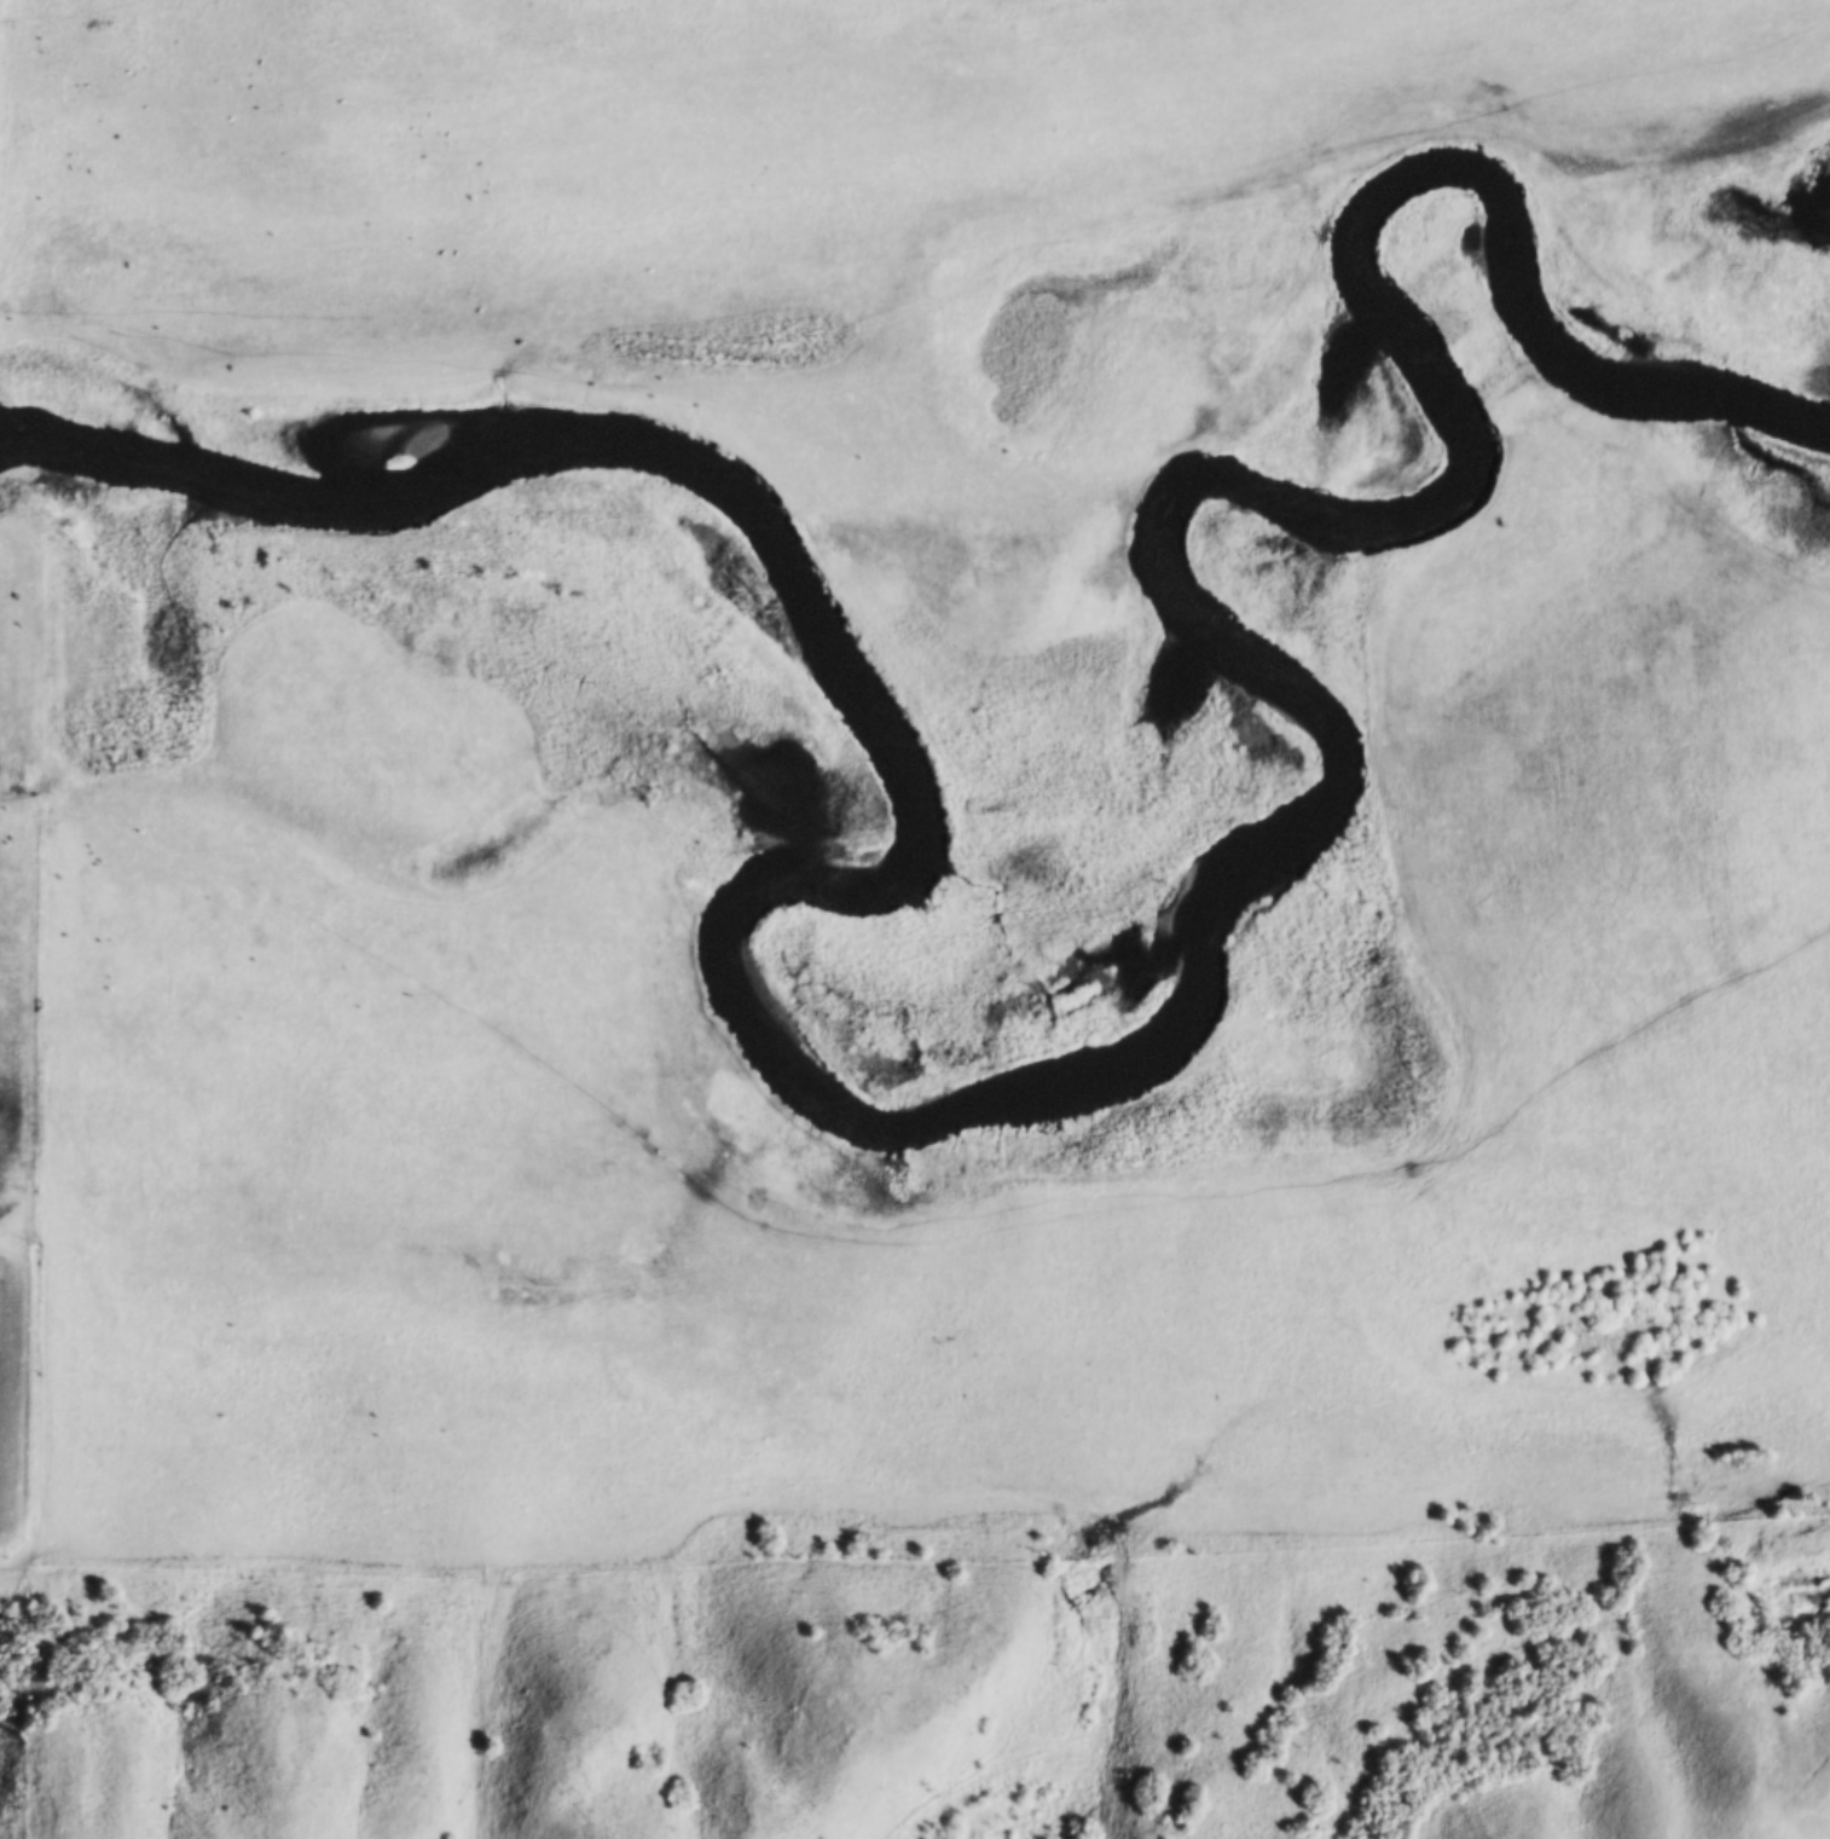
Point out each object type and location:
river: (1114, 1011)
road: (4, 1562)

